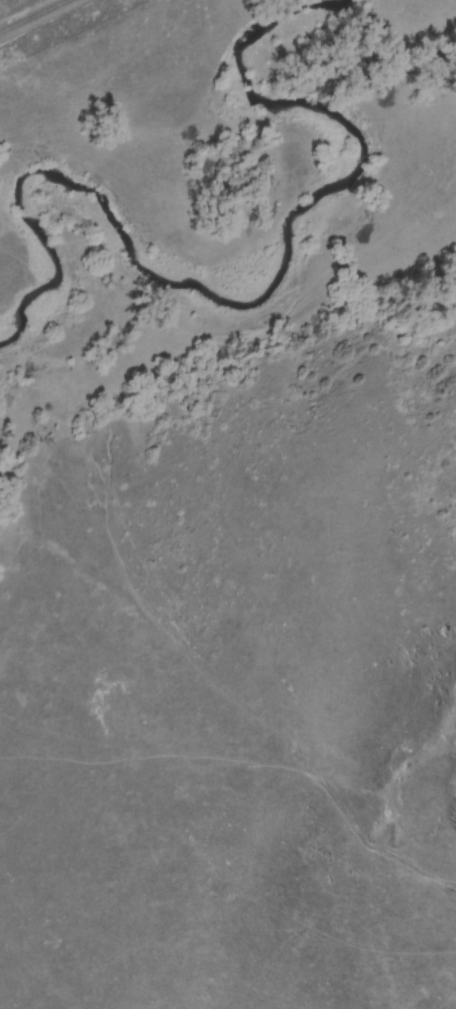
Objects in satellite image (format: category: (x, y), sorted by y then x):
railway: (34, 15)

